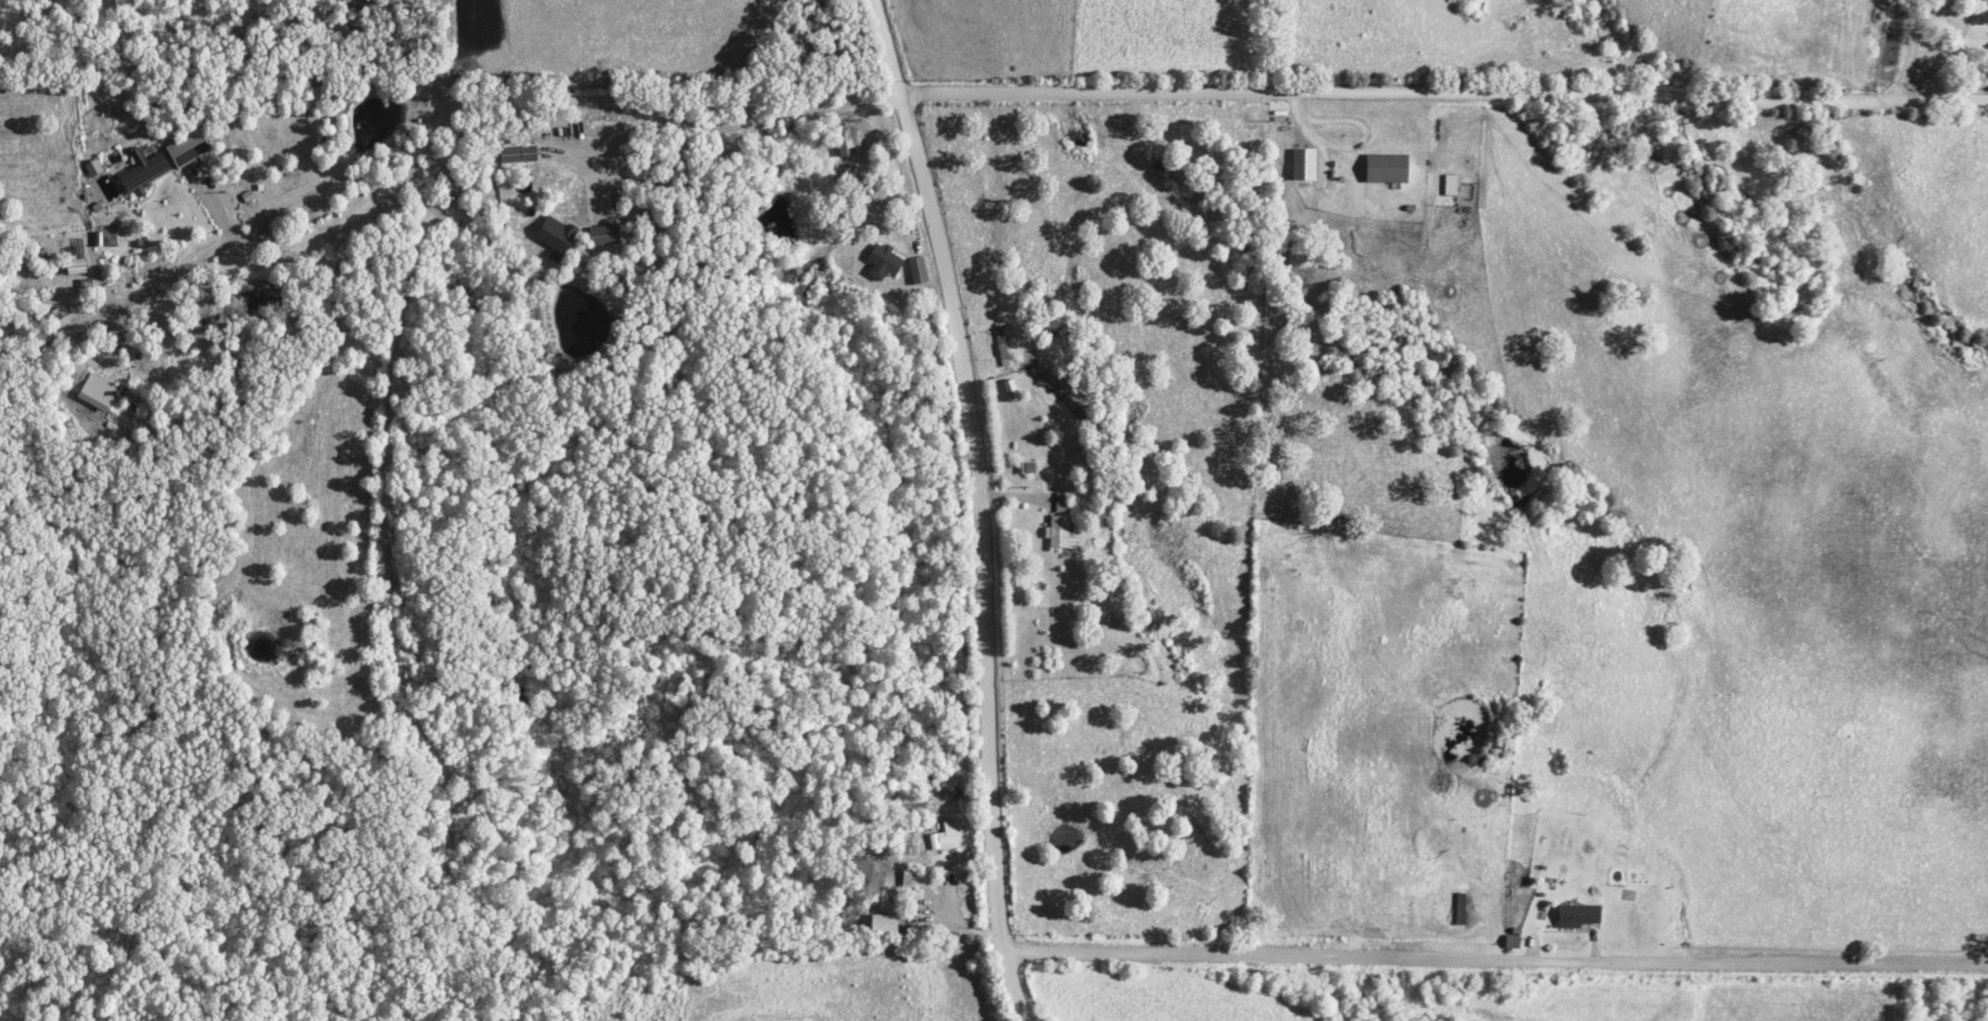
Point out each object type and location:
building: (1985, 2)
road: (1949, 53)
road: (1907, 56)
road: (1441, 97)
road: (464, 99)
building: (845, 143)
building: (184, 149)
building: (518, 155)
building: (1301, 165)
building: (91, 168)
building: (1384, 169)
building: (141, 173)
building: (1449, 186)
building: (553, 235)
building: (602, 237)
building: (881, 263)
building: (74, 267)
building: (917, 271)
building: (96, 393)
road: (1005, 503)
road: (972, 506)
building: (1059, 526)
building: (944, 837)
building: (1575, 916)
building: (881, 923)
road: (1559, 925)
road: (947, 932)
road: (1492, 966)

